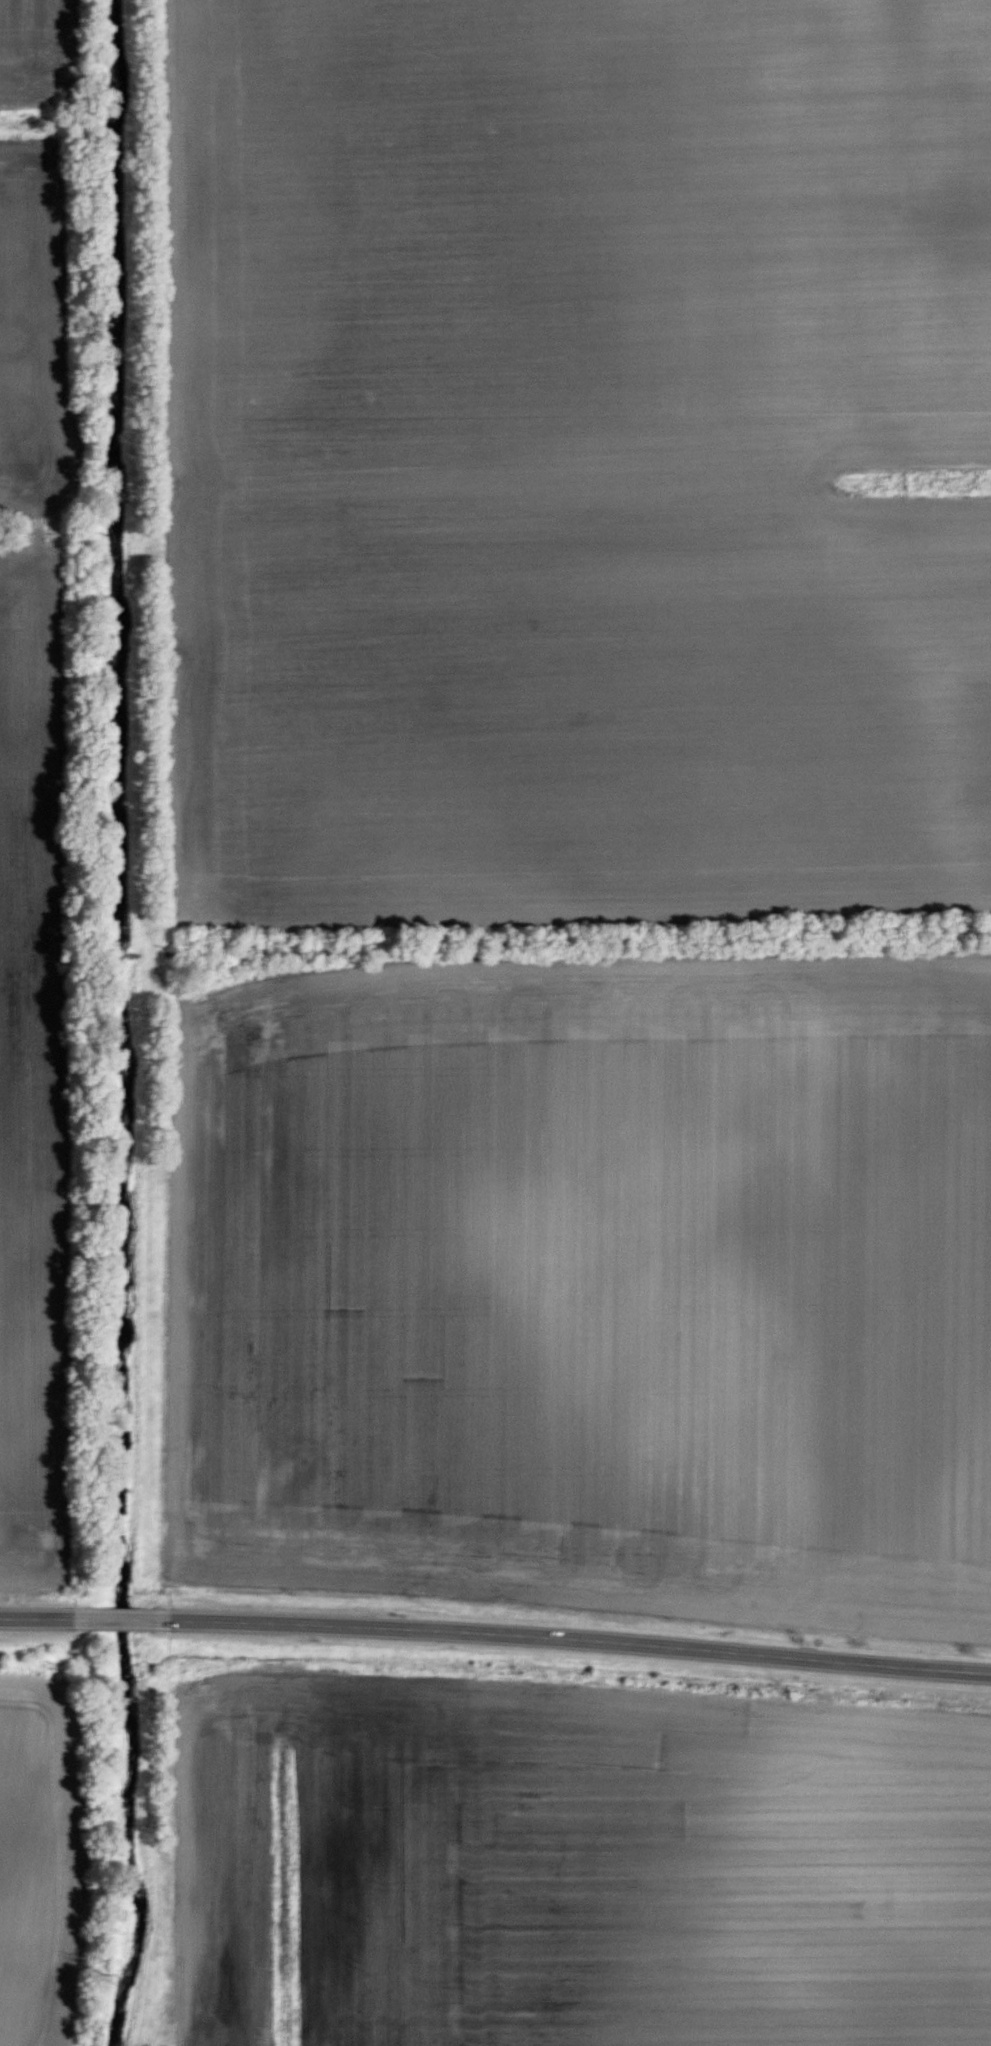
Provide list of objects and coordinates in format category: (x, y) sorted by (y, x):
road: (45, 1617)
road: (123, 1618)
road: (573, 1638)

